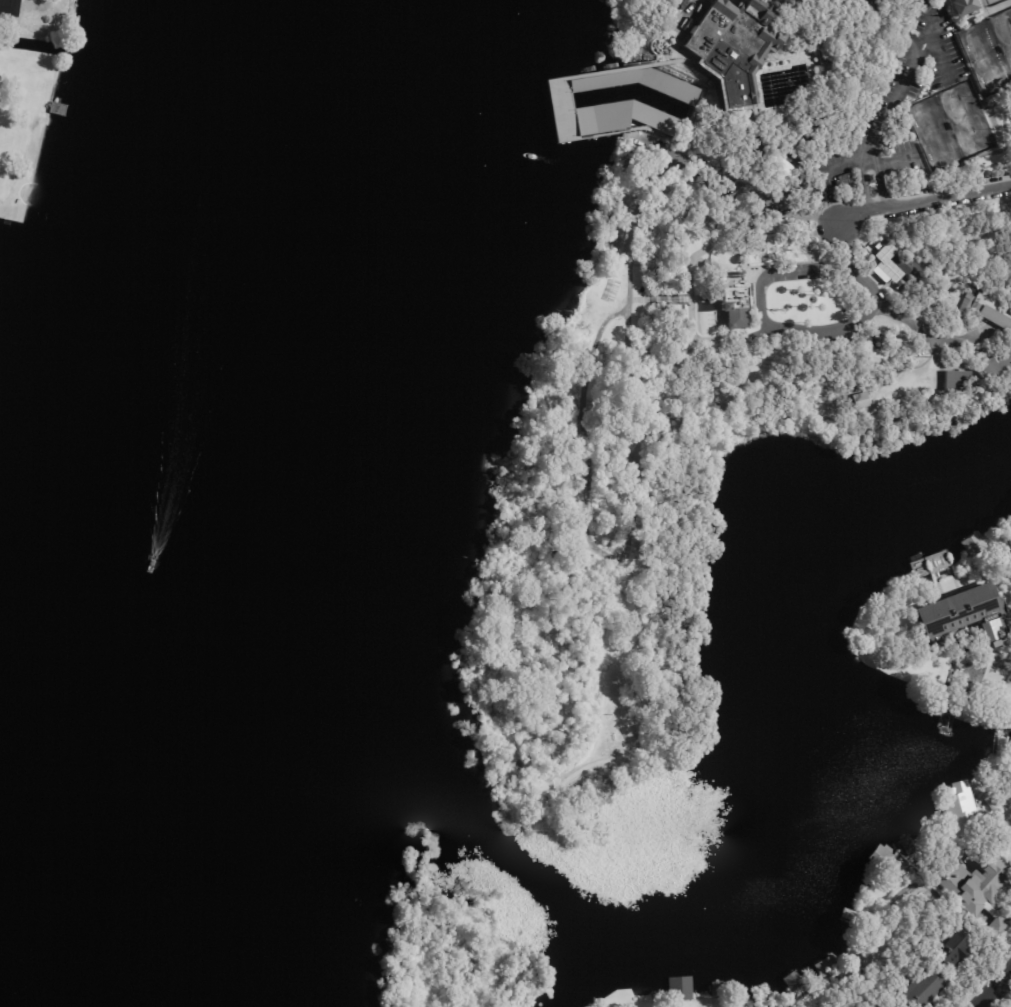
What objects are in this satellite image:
building: (960, 8)
building: (13, 13)
road: (688, 16)
park: (1007, 34)
road: (676, 38)
road: (936, 39)
building: (739, 43)
street lamp: (961, 49)
building: (1001, 51)
road: (677, 52)
park: (985, 58)
pier: (620, 69)
building: (827, 71)
street lamp: (976, 81)
building: (642, 84)
road: (896, 93)
street lamp: (974, 97)
park: (966, 119)
building: (949, 126)
street lamp: (910, 127)
street lamp: (990, 129)
park: (934, 134)
street lamp: (924, 158)
road: (866, 160)
road: (863, 161)
road: (835, 217)
park: (967, 238)
road: (766, 322)
building: (685, 460)
river: (188, 514)
road: (626, 550)
building: (1007, 560)
building: (939, 564)
building: (963, 617)
building: (985, 677)
building: (959, 802)
building: (977, 884)
building: (1000, 928)
building: (959, 950)
road: (993, 987)
building: (680, 988)
building: (926, 989)
building: (878, 1005)
building: (887, 1005)

